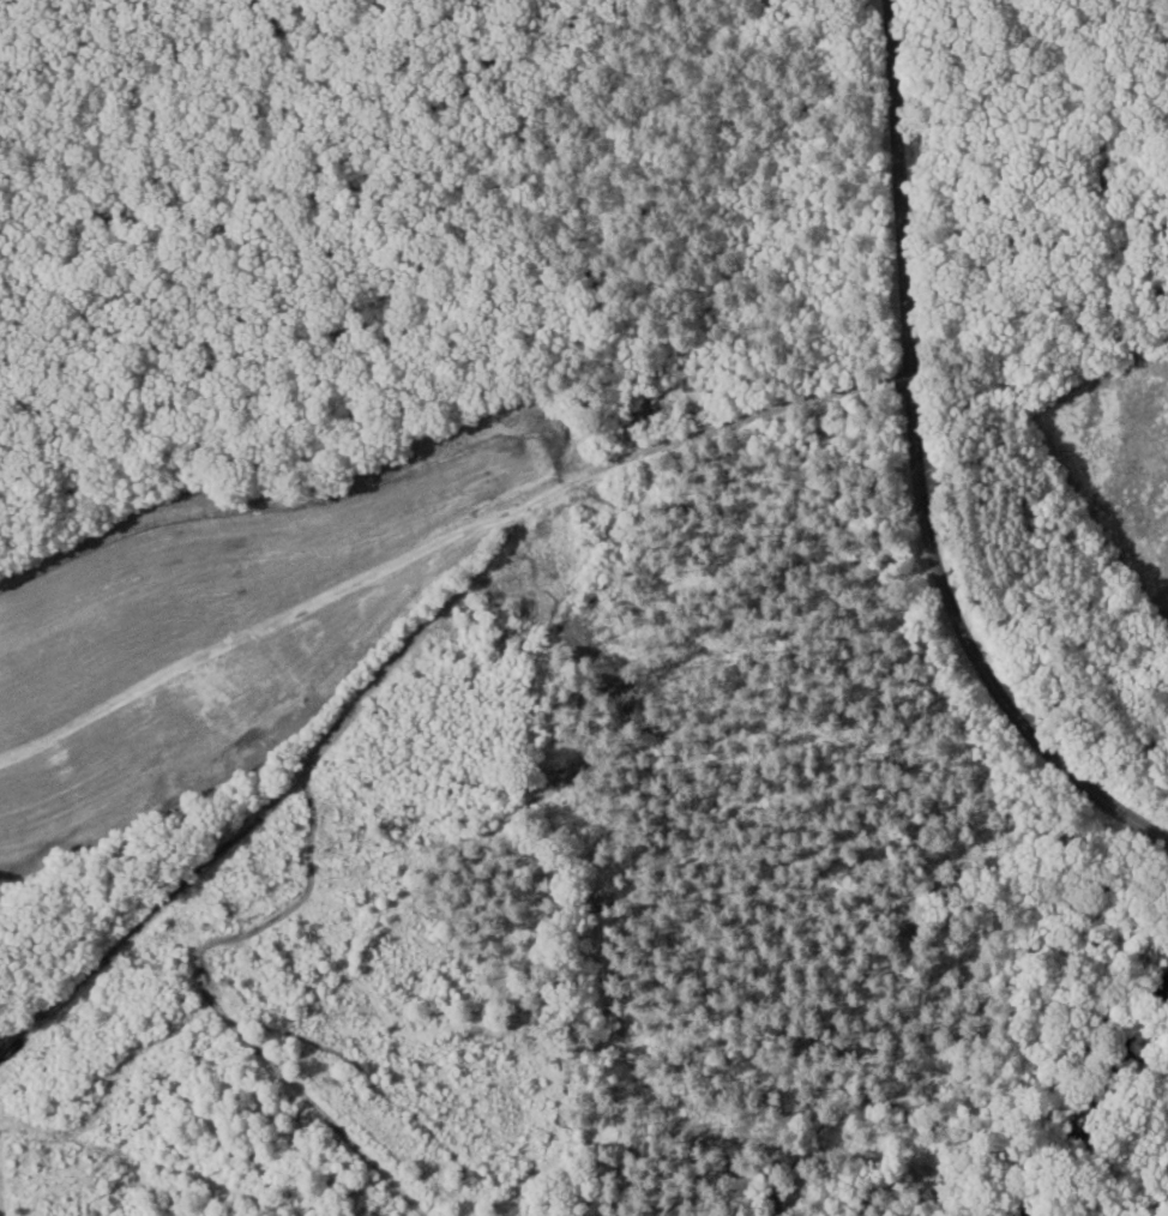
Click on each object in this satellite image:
road: (921, 466)

